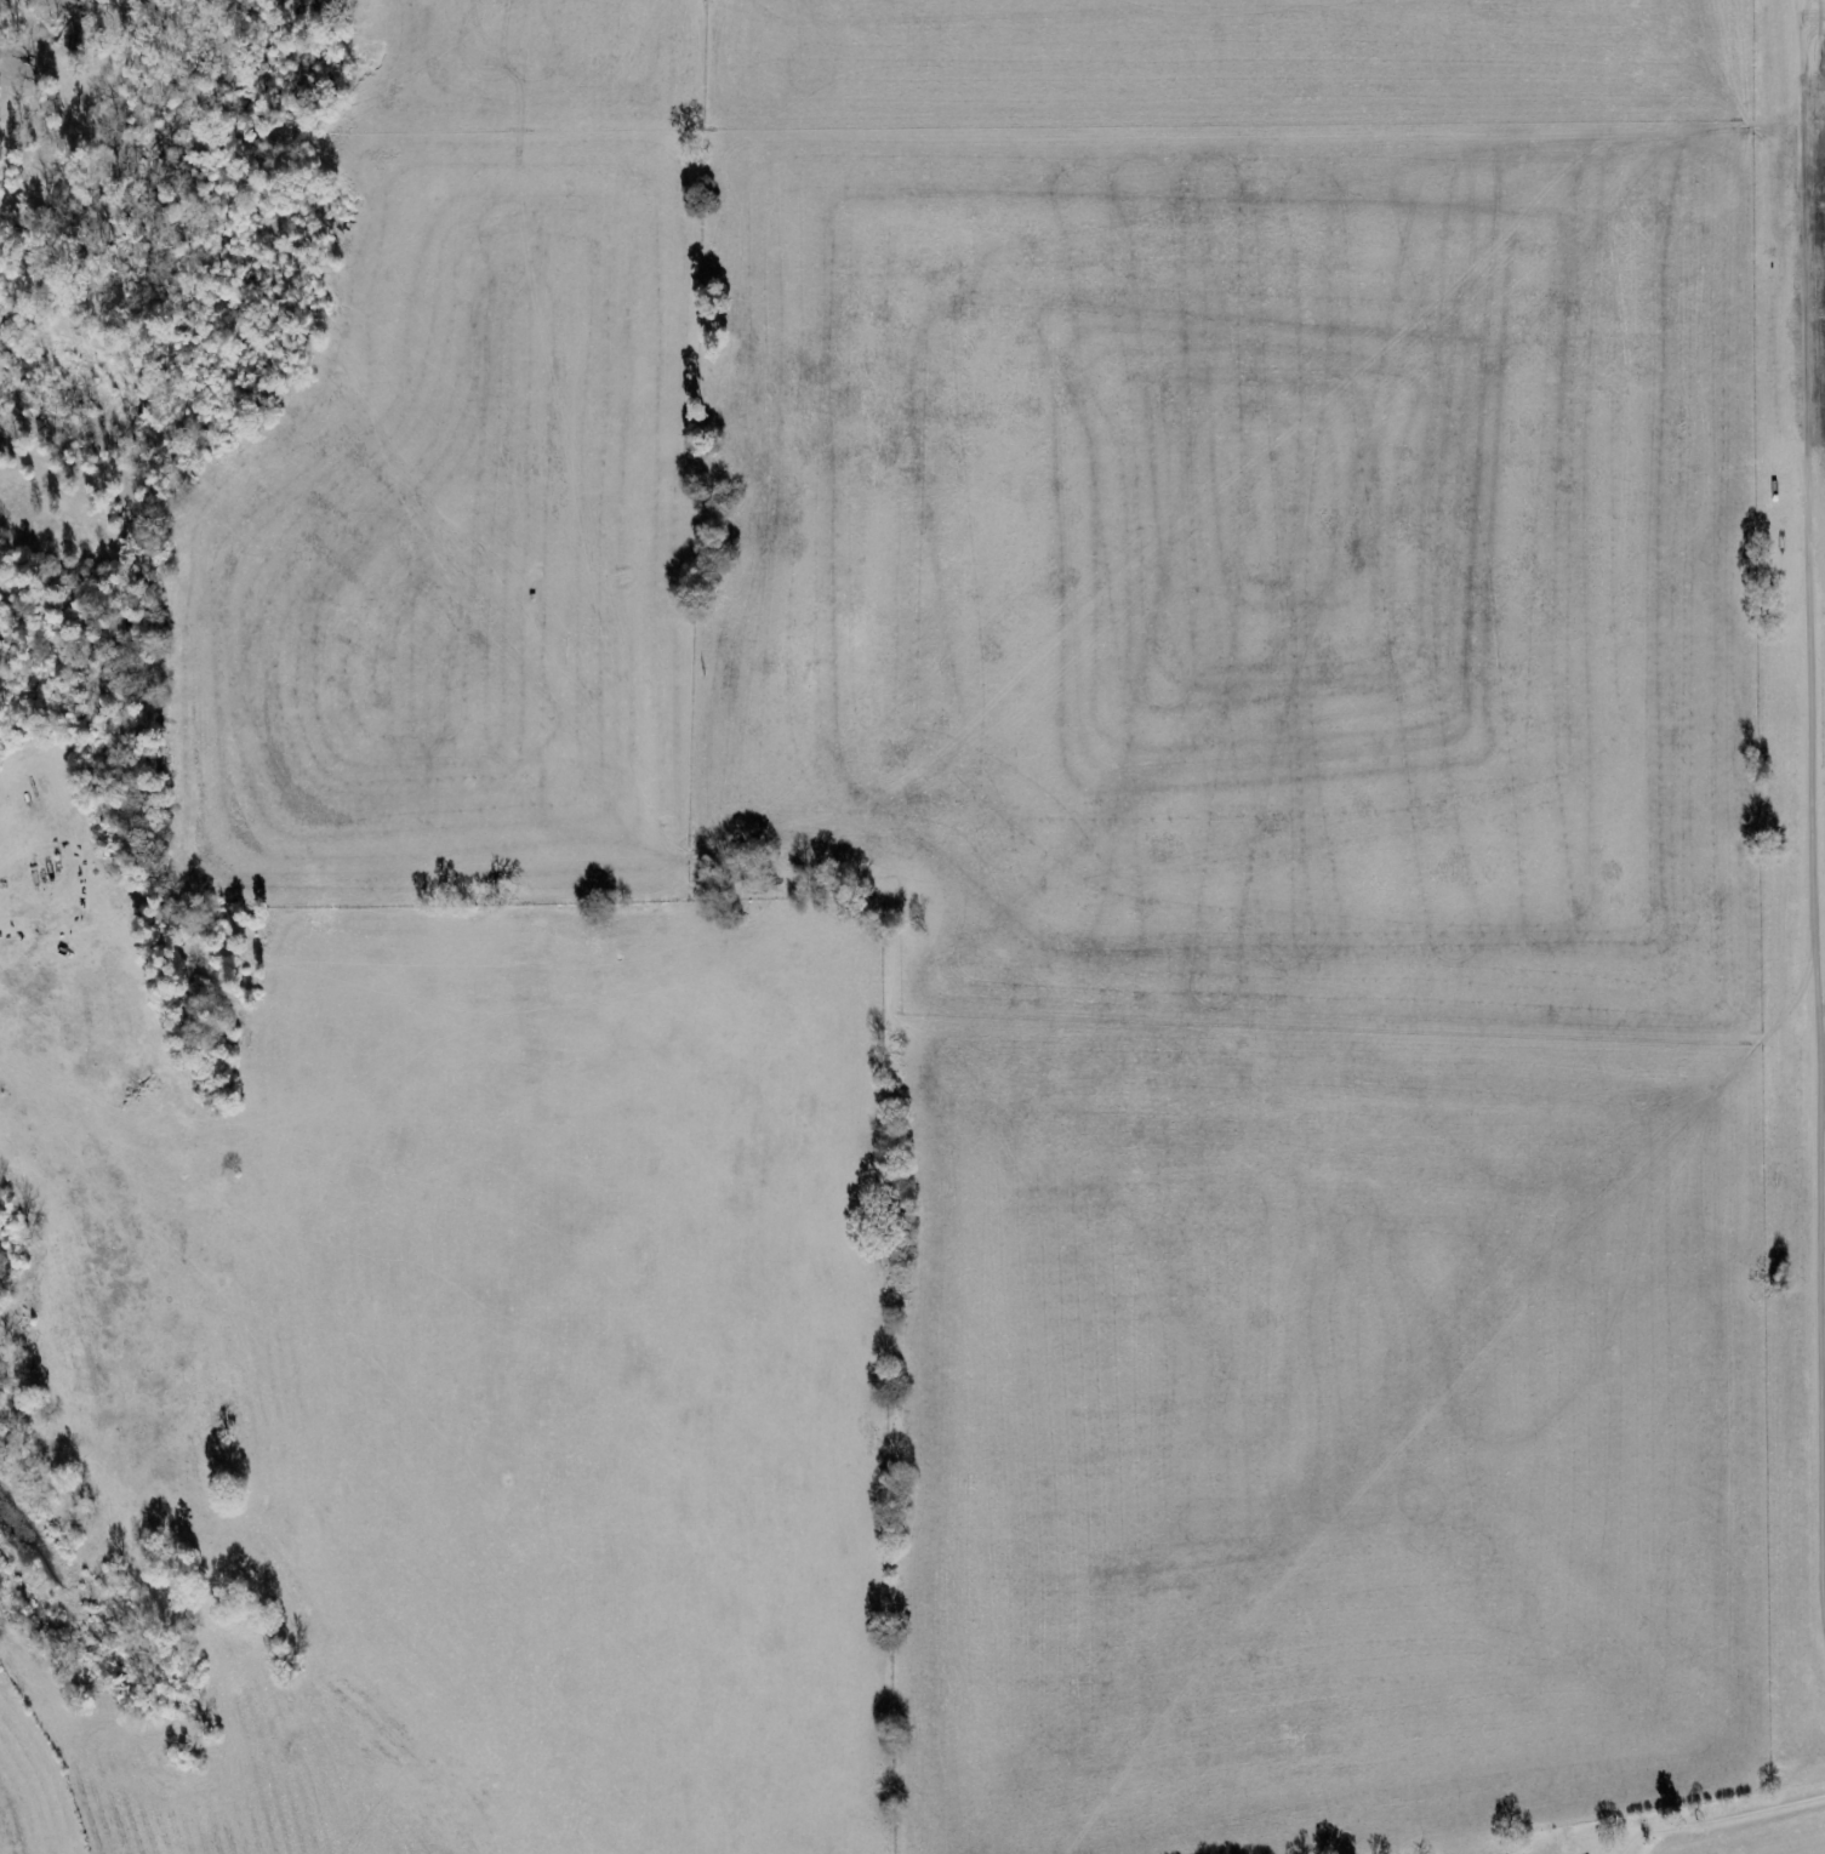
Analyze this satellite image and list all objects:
road: (1817, 838)

